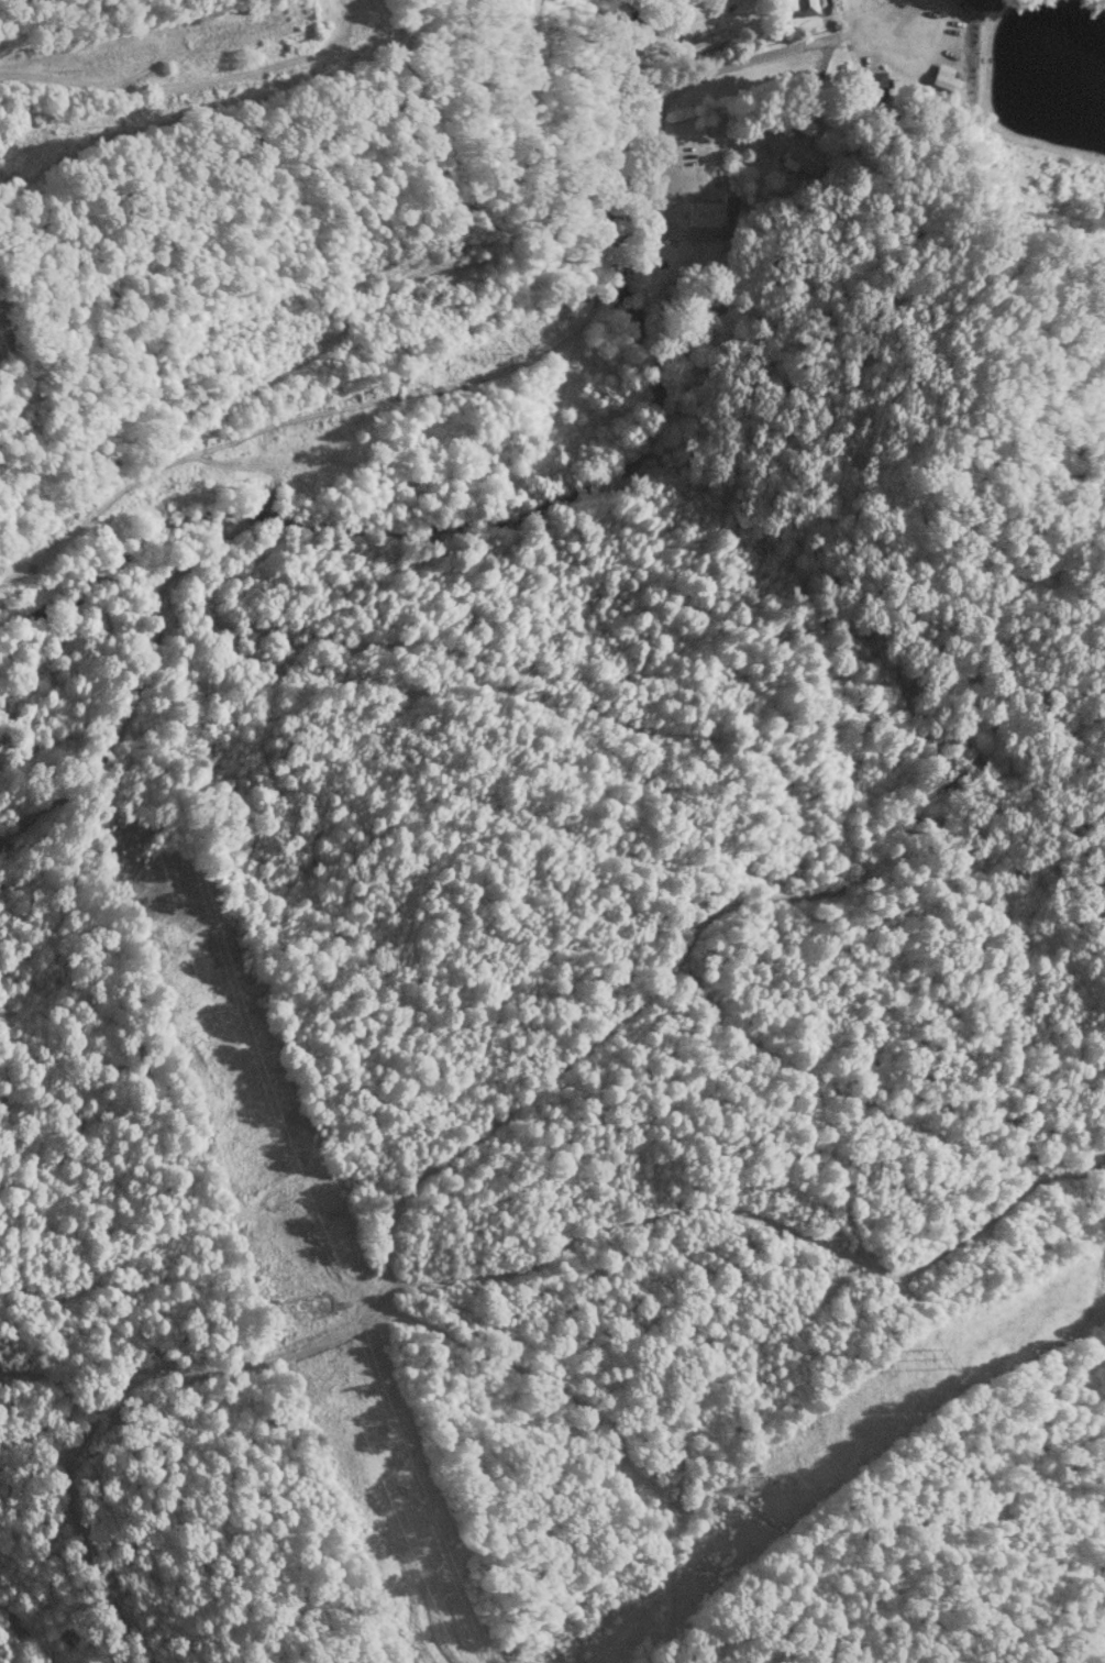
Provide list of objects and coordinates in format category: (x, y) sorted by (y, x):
building: (799, 7)
building: (981, 7)
road: (716, 67)
building: (870, 84)
road: (166, 86)
building: (798, 157)
building: (710, 212)
road: (350, 407)
power tower: (936, 1358)
power tower: (793, 1479)

